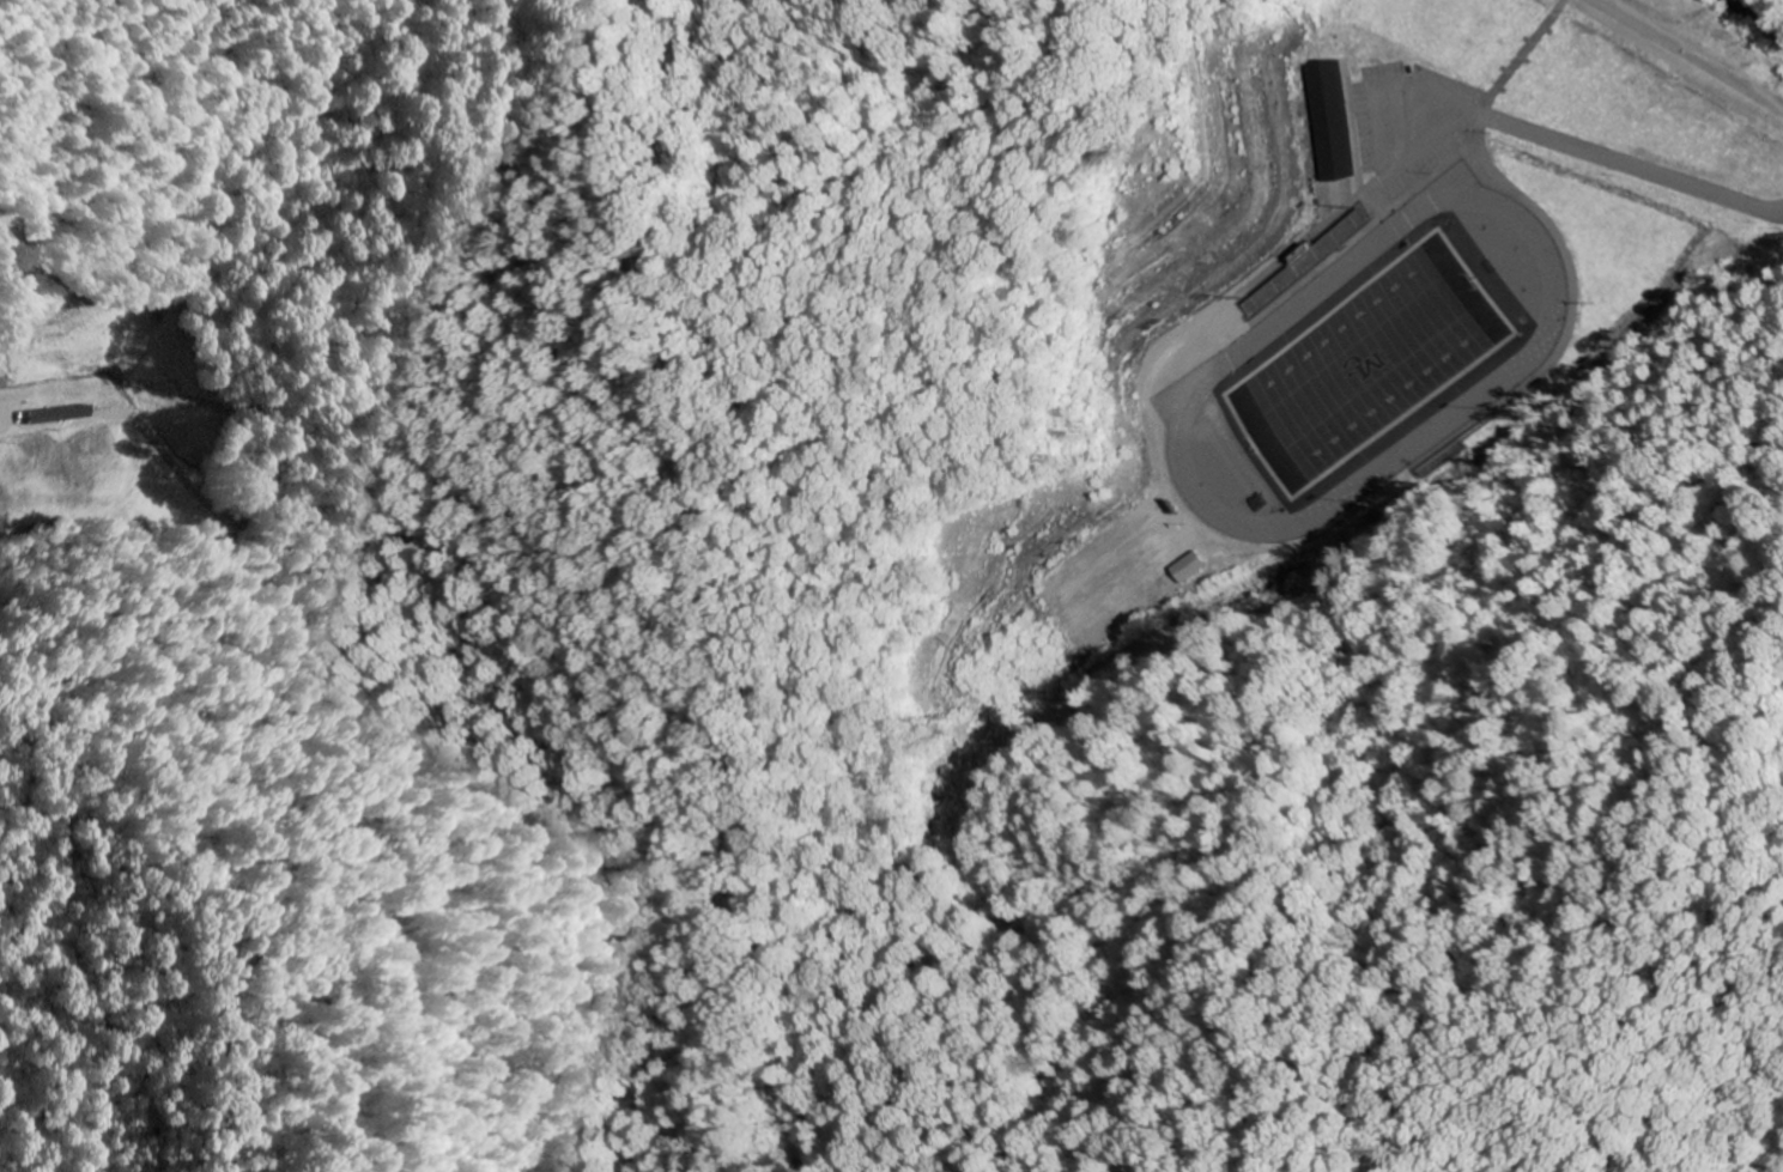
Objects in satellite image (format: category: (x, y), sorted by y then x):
river: (1763, 17)
building: (1324, 122)
park: (1370, 362)
building: (65, 417)
building: (1187, 570)

